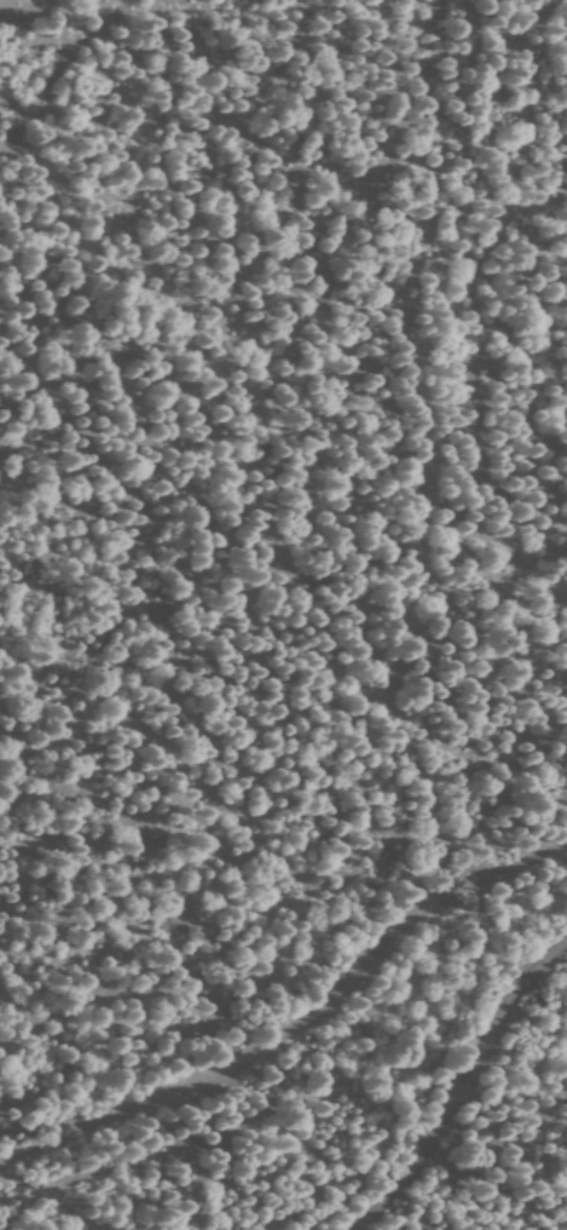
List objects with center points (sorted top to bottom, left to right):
road: (301, 1031)
road: (459, 1085)

